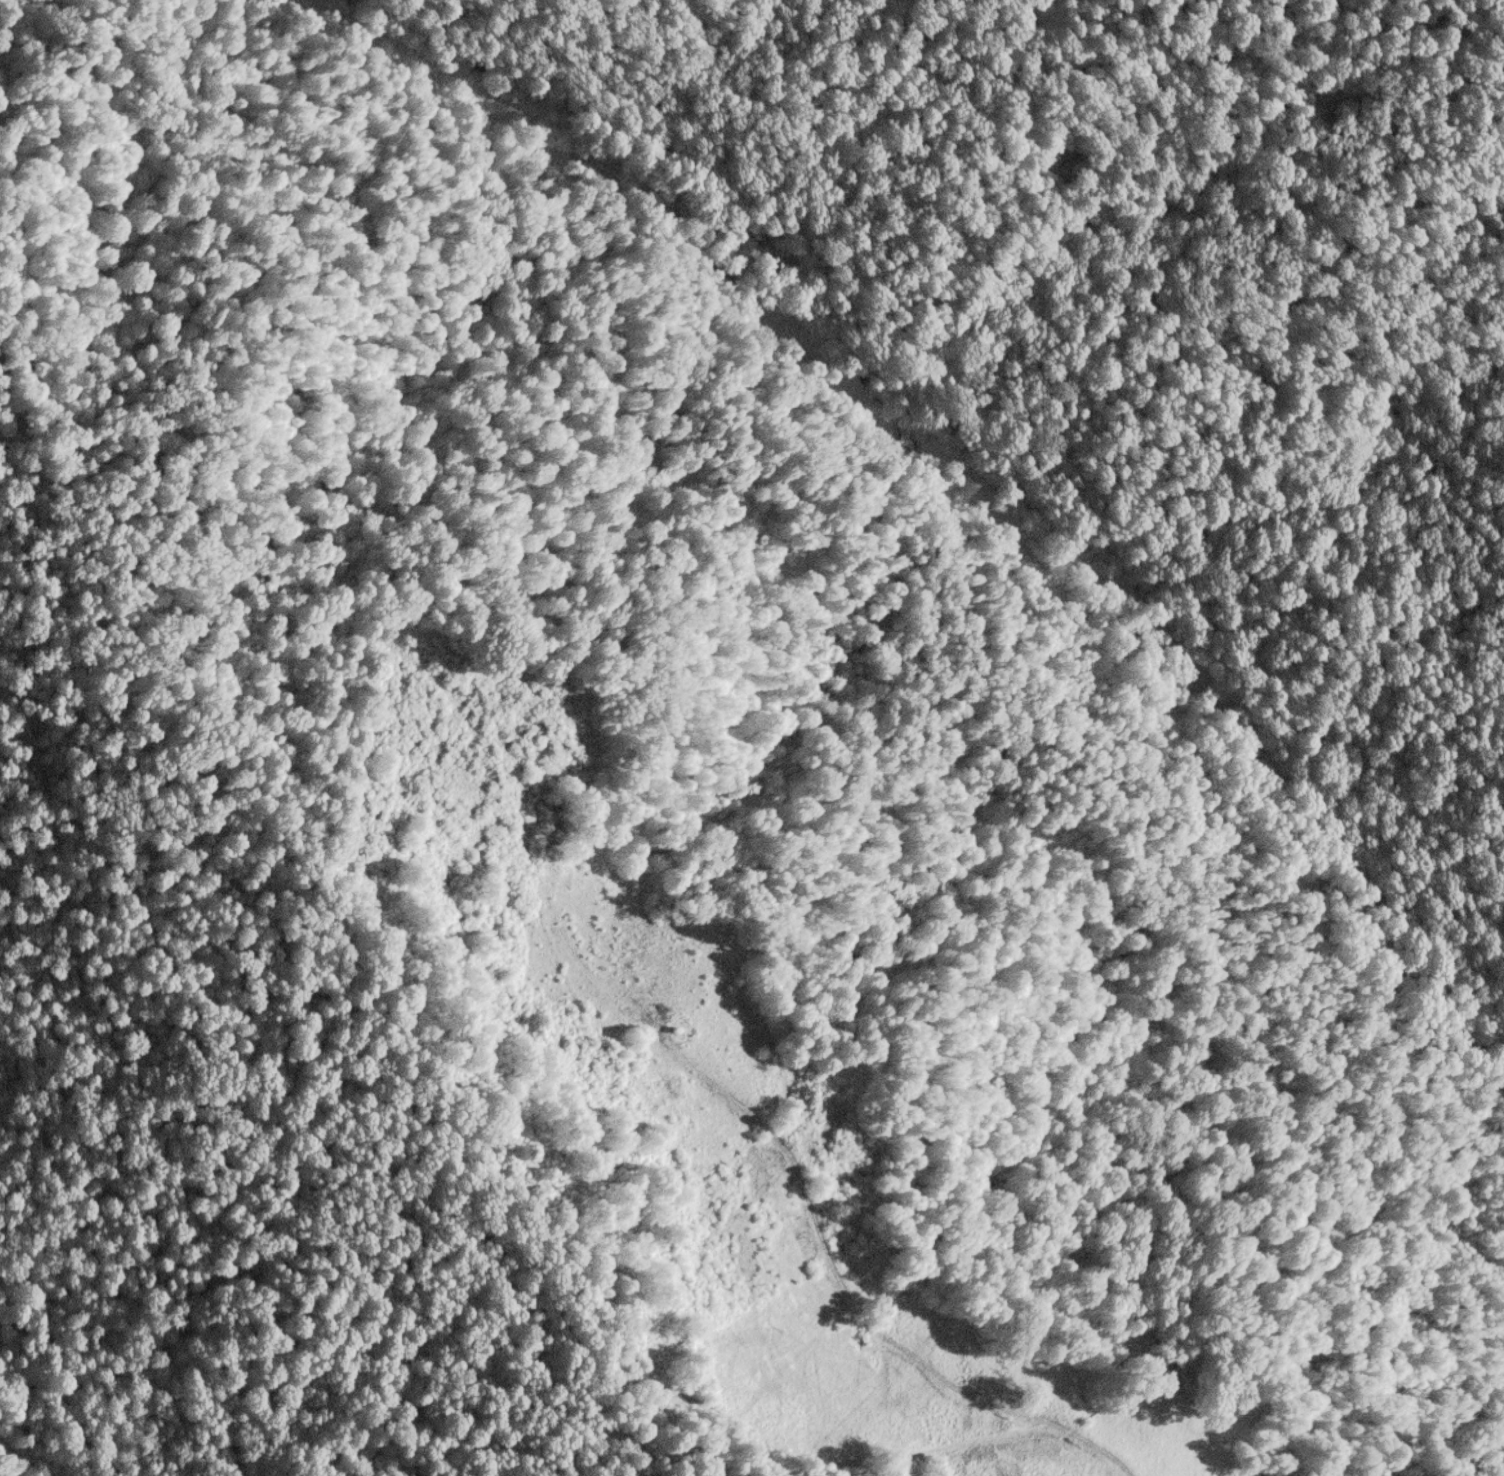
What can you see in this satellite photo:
road: (586, 954)
road: (803, 1454)

